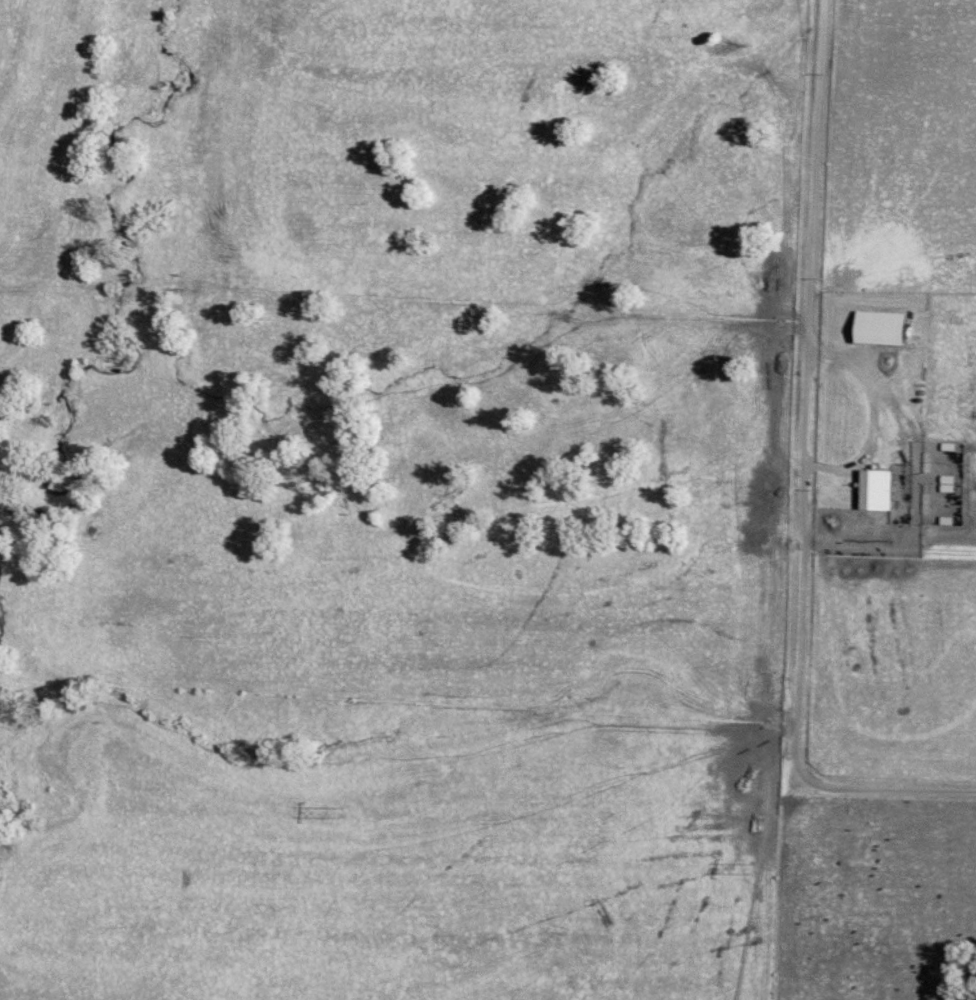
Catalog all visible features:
building: (887, 328)
road: (850, 357)
building: (880, 490)
road: (806, 698)
power tower: (339, 808)
power tower: (751, 866)

